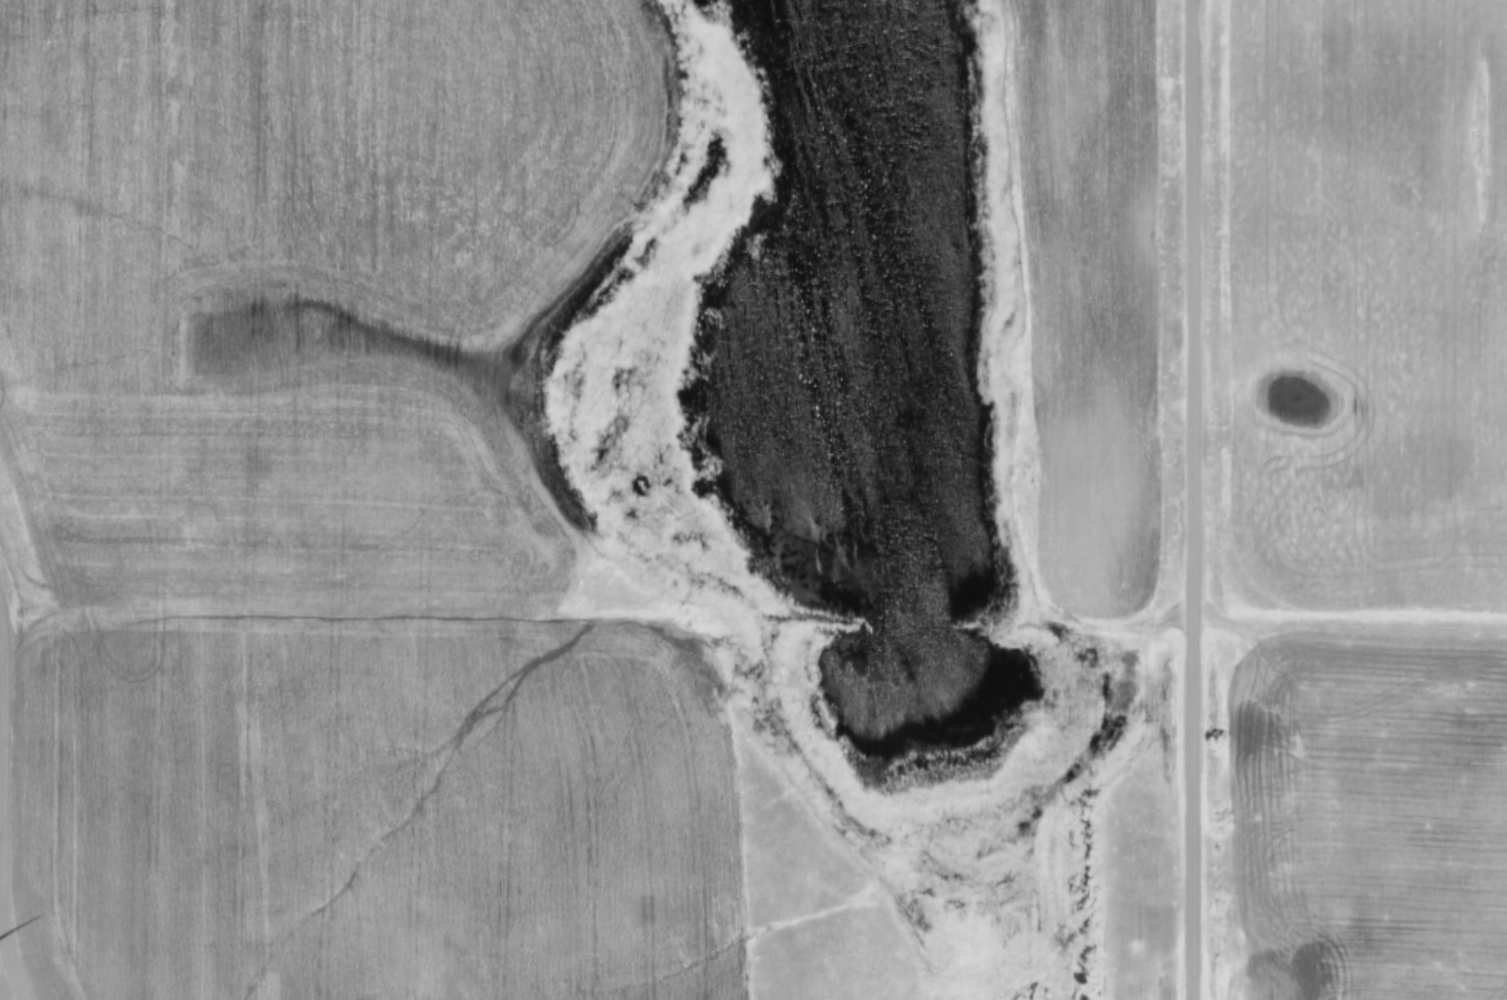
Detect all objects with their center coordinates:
road: (1197, 499)

